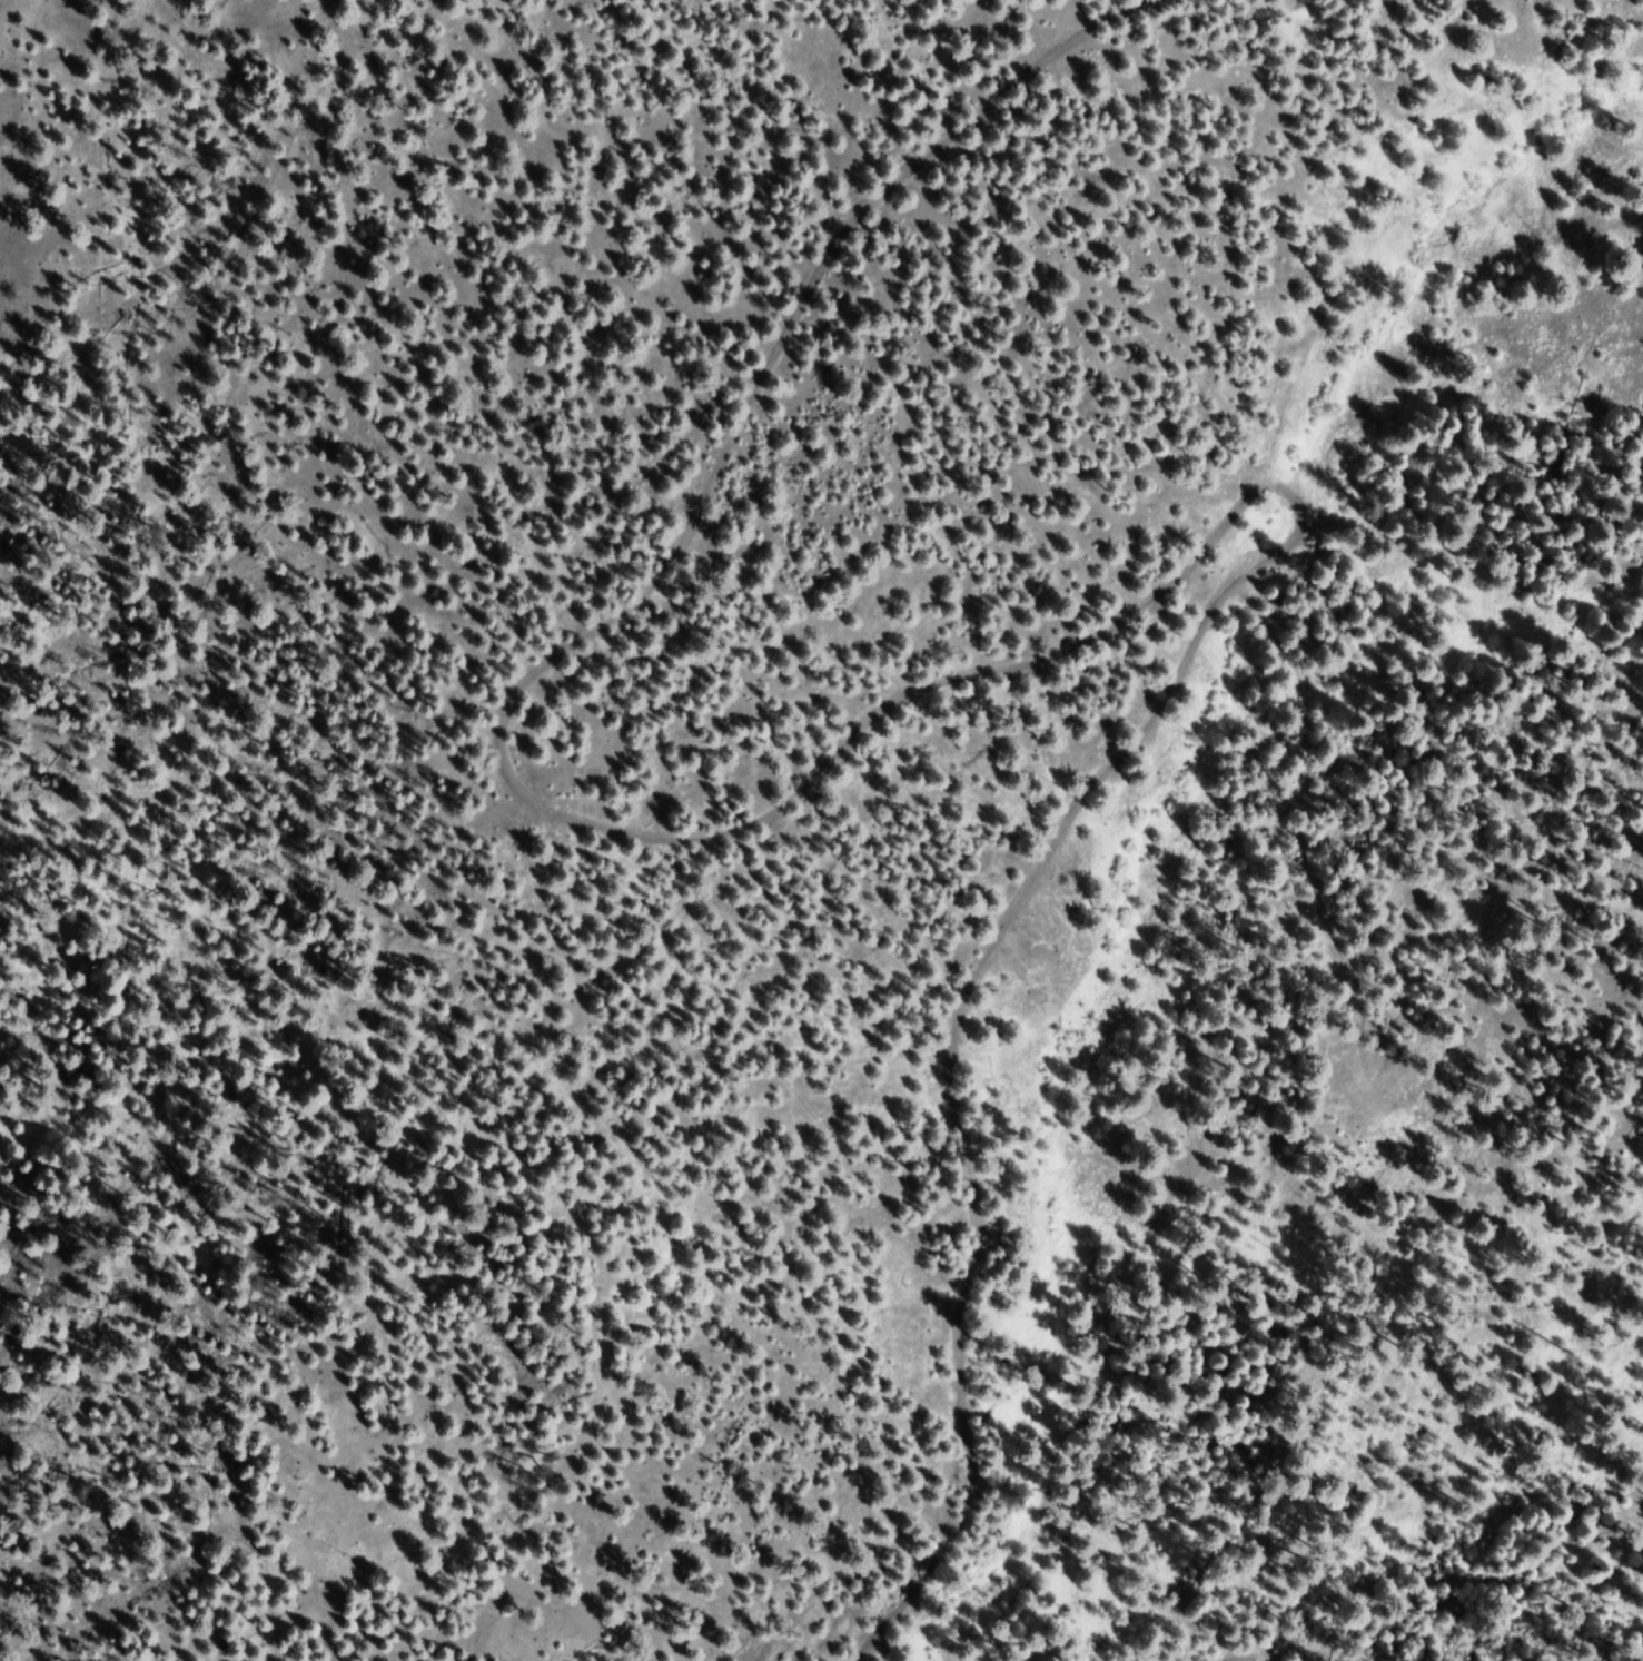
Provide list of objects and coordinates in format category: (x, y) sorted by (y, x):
road: (800, 828)
road: (977, 1374)

